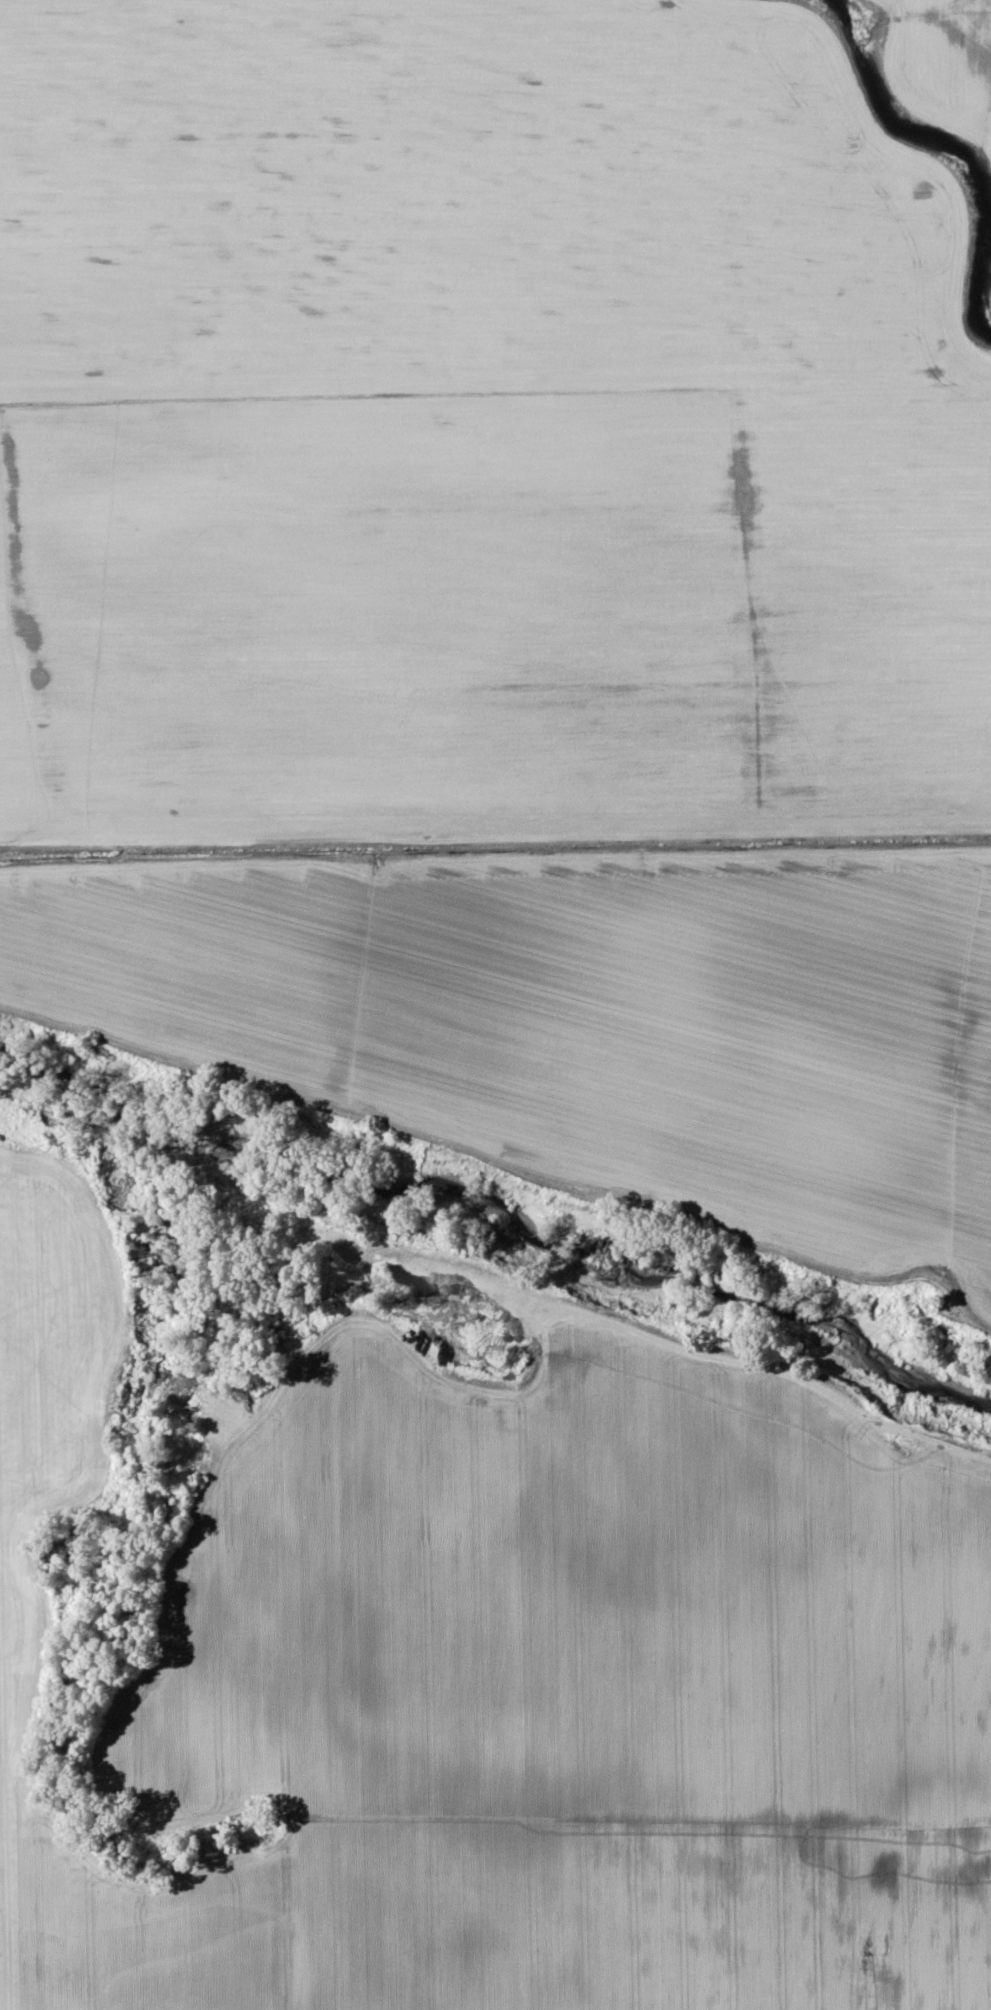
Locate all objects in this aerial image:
road: (975, 1896)

